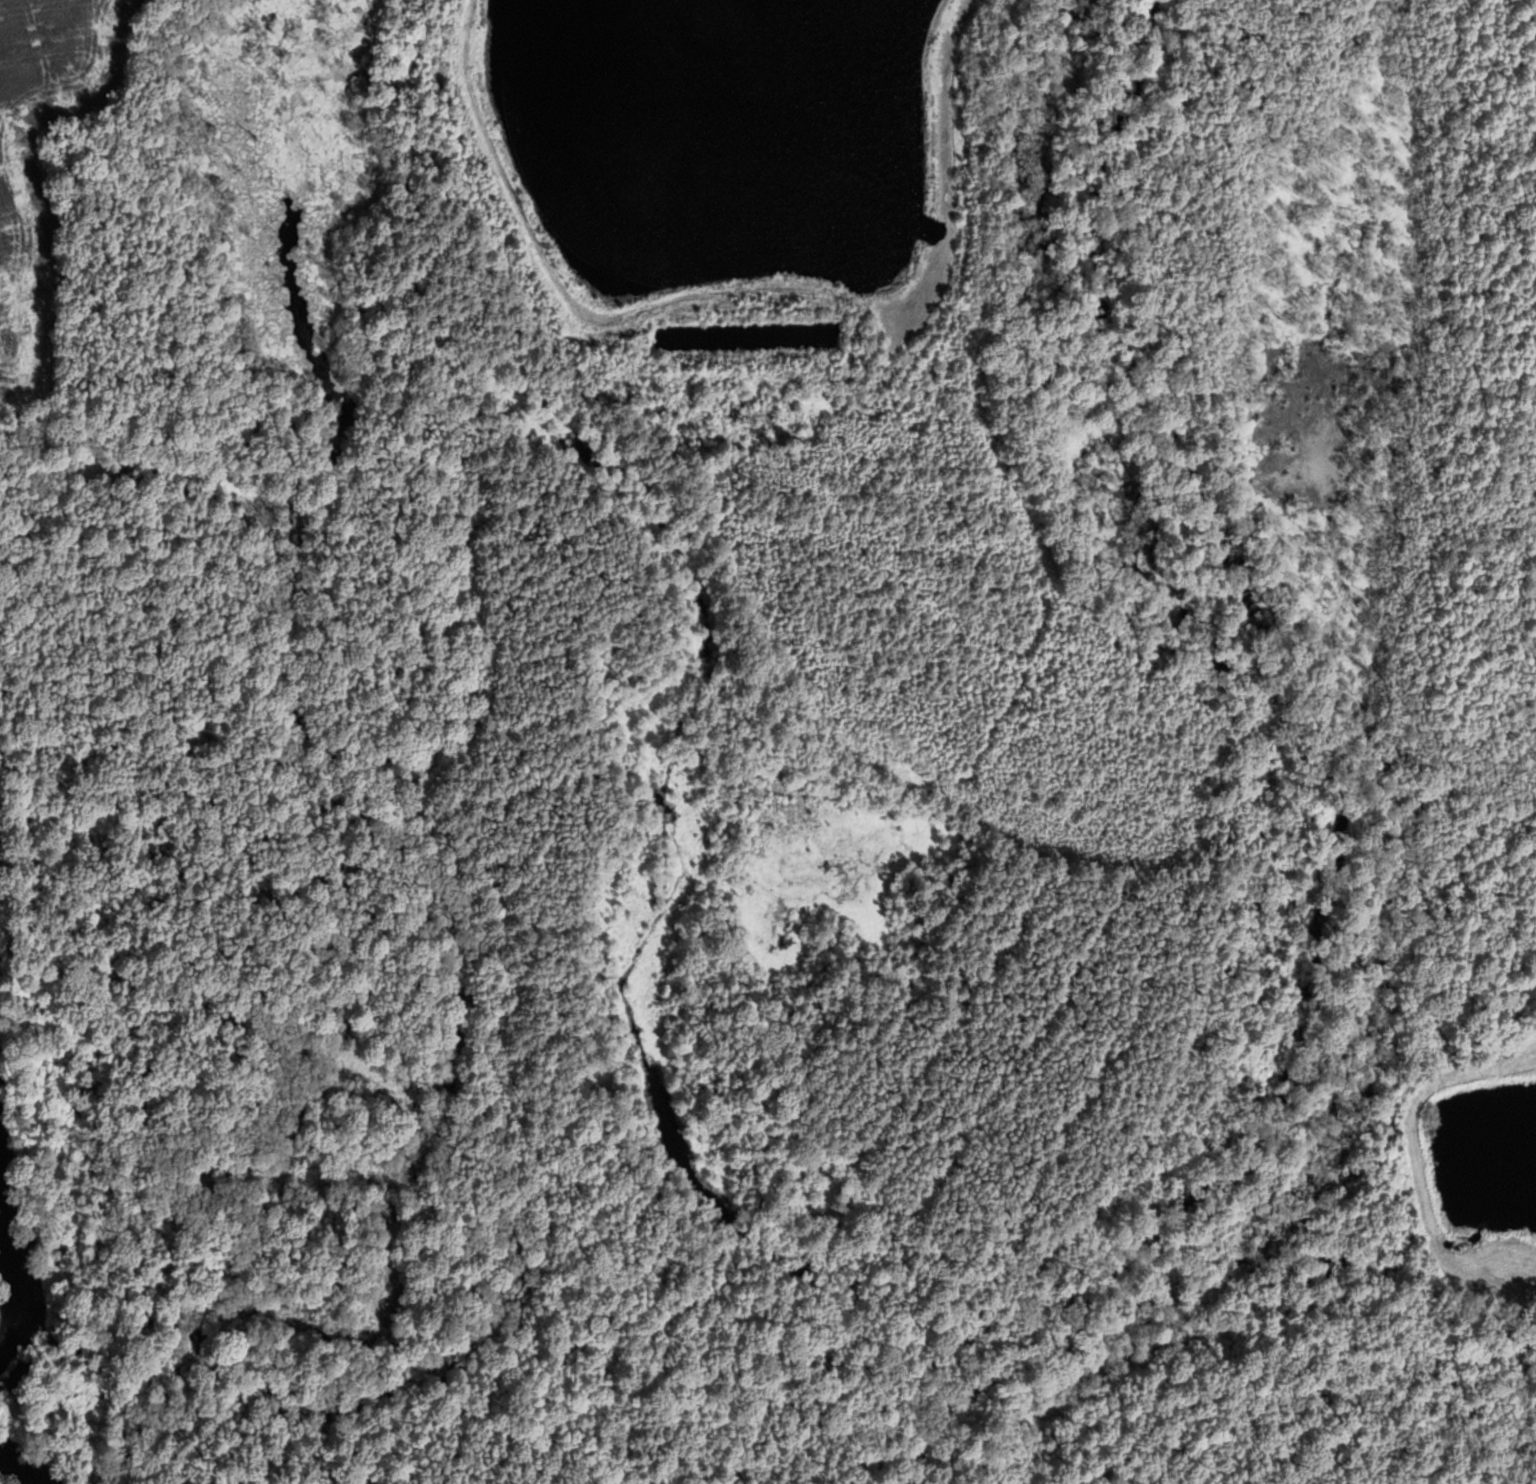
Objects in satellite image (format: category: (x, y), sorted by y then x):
river: (14, 1197)
river: (51, 1411)

